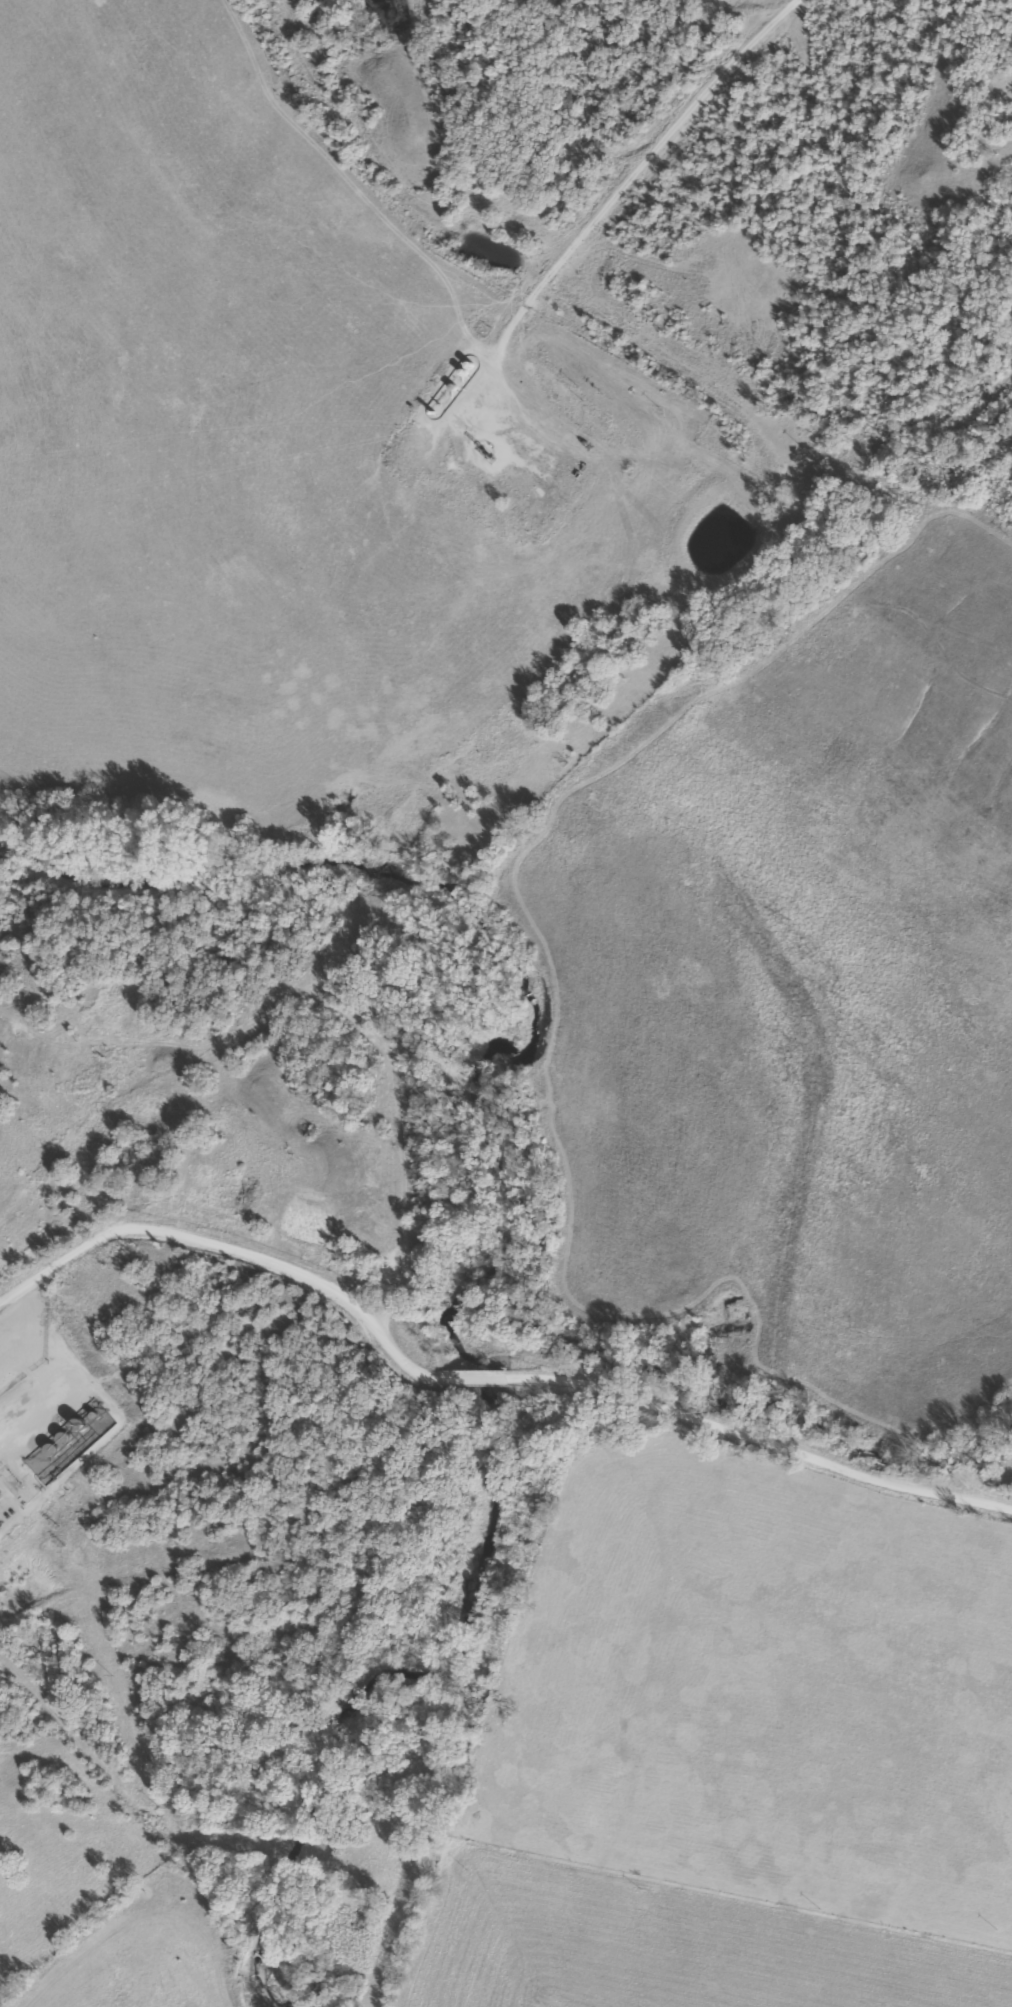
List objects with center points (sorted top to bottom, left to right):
road: (619, 186)
road: (43, 1363)
road: (482, 1372)
building: (1, 1495)

